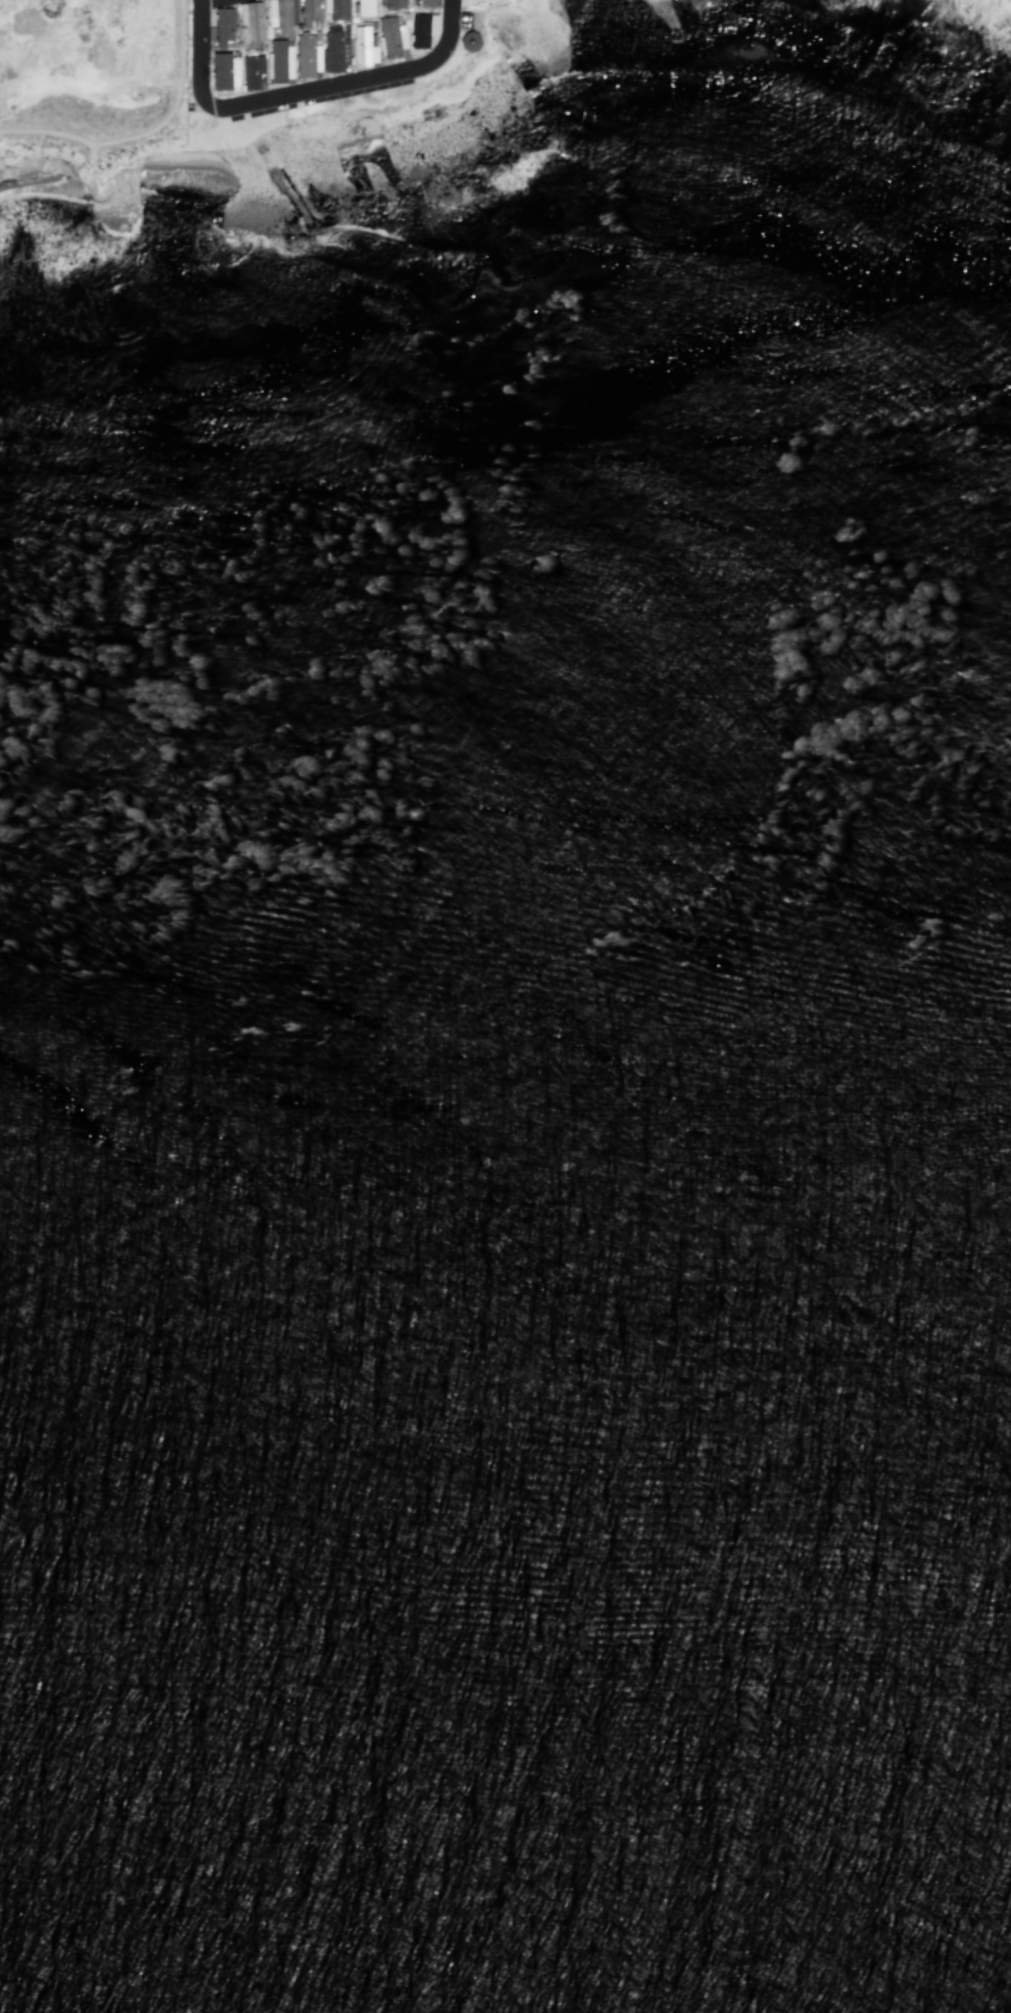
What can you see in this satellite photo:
building: (495, 0)
road: (214, 2)
building: (429, 3)
building: (393, 4)
building: (364, 6)
building: (337, 8)
building: (311, 13)
building: (281, 15)
building: (407, 15)
parking lot: (465, 17)
building: (254, 20)
building: (374, 24)
building: (224, 26)
building: (423, 28)
building: (392, 37)
building: (471, 40)
road: (179, 46)
building: (363, 46)
building: (336, 49)
building: (308, 54)
building: (280, 60)
building: (225, 70)
building: (253, 71)
road: (172, 82)
road: (303, 96)
road: (99, 141)
road: (92, 156)

